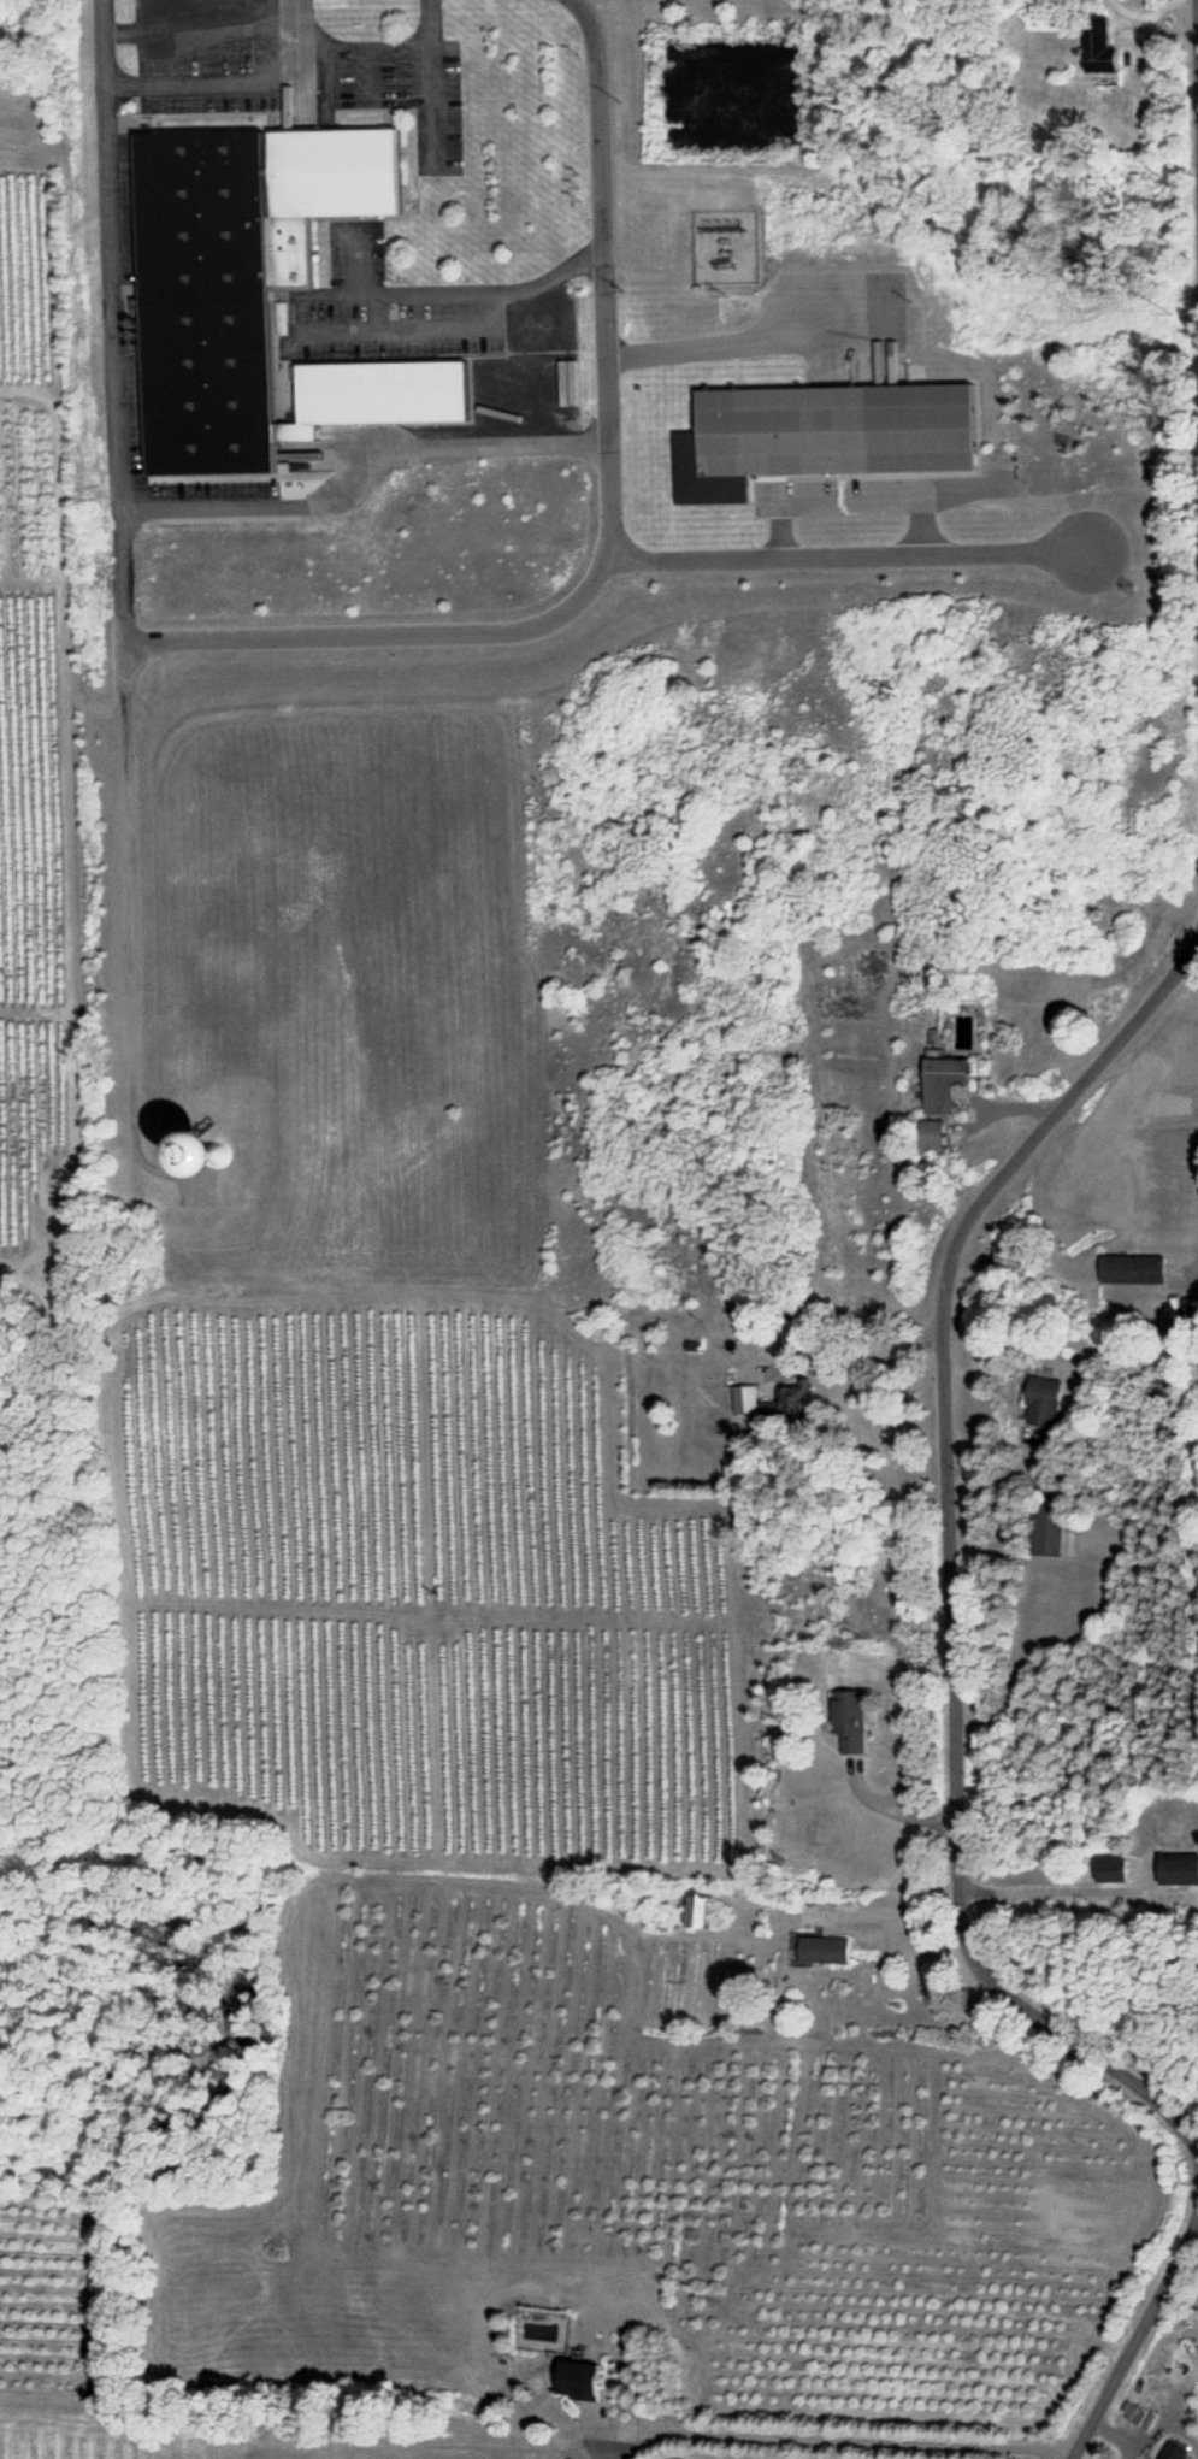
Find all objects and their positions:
building: (1102, 52)
road: (1196, 71)
road: (230, 84)
road: (602, 275)
building: (240, 279)
road: (454, 294)
road: (750, 341)
building: (380, 399)
building: (825, 440)
road: (117, 513)
road: (848, 559)
road: (394, 638)
building: (948, 1086)
building: (936, 1138)
building: (247, 1154)
building: (1135, 1272)
building: (1056, 1404)
building: (769, 1405)
building: (1049, 1532)
road: (943, 1557)
building: (854, 1724)
building: (1114, 1873)
building: (1181, 1873)
building: (703, 1915)
building: (827, 1953)
road: (1134, 2335)
building: (583, 2383)
building: (1173, 2452)

